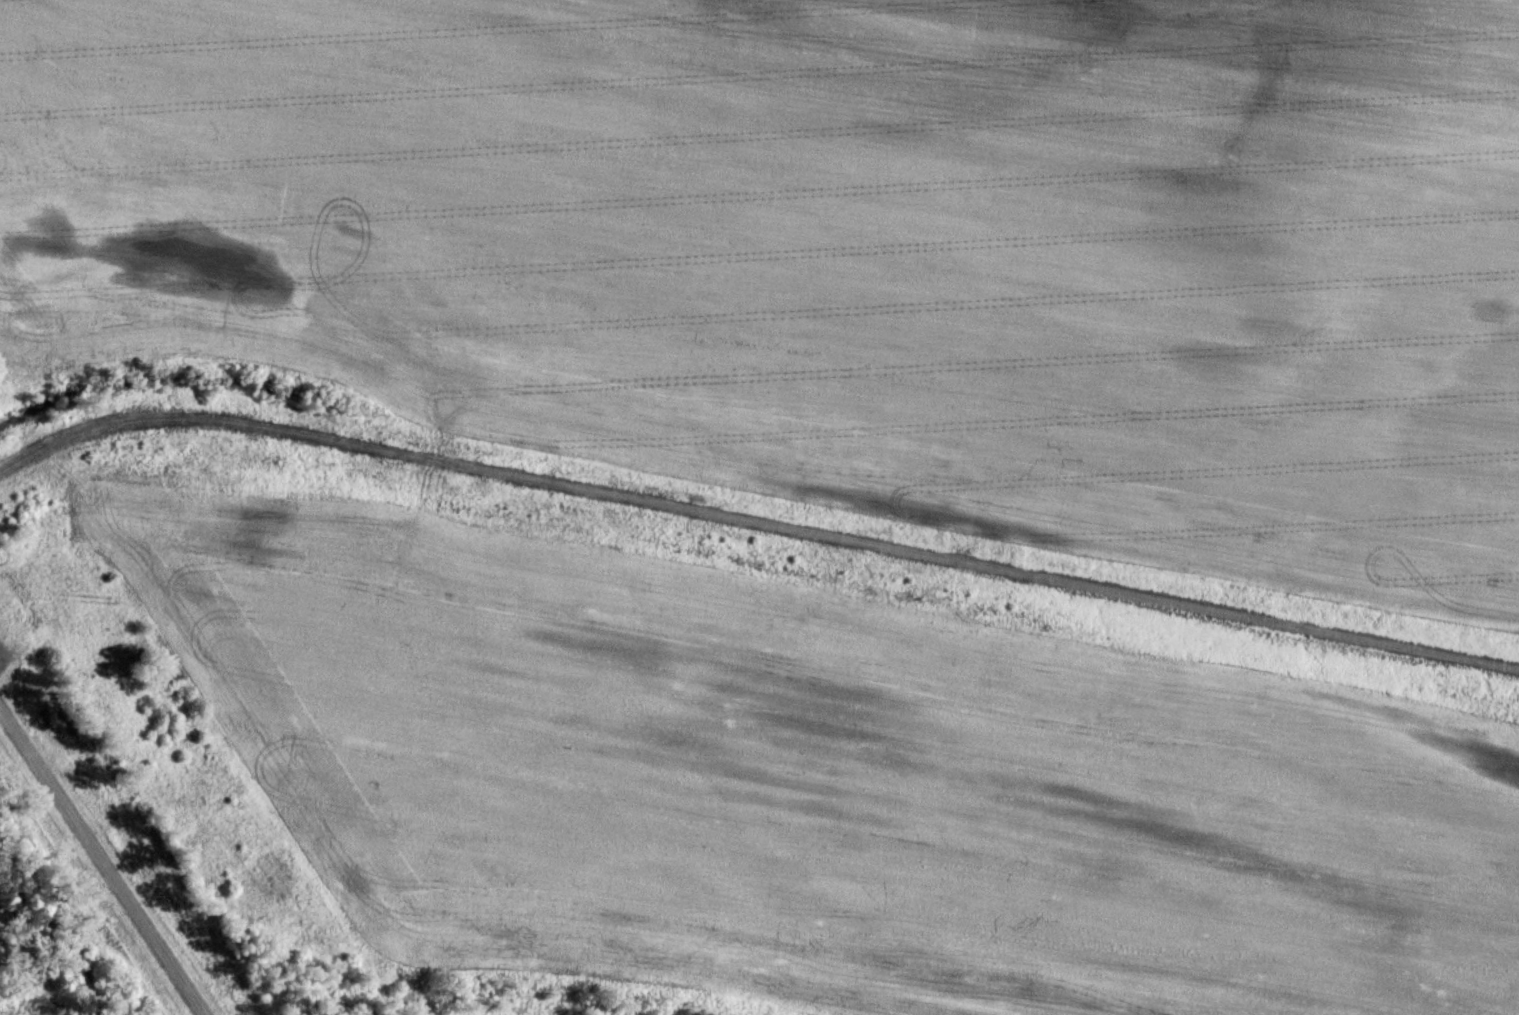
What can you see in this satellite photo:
road: (101, 862)

